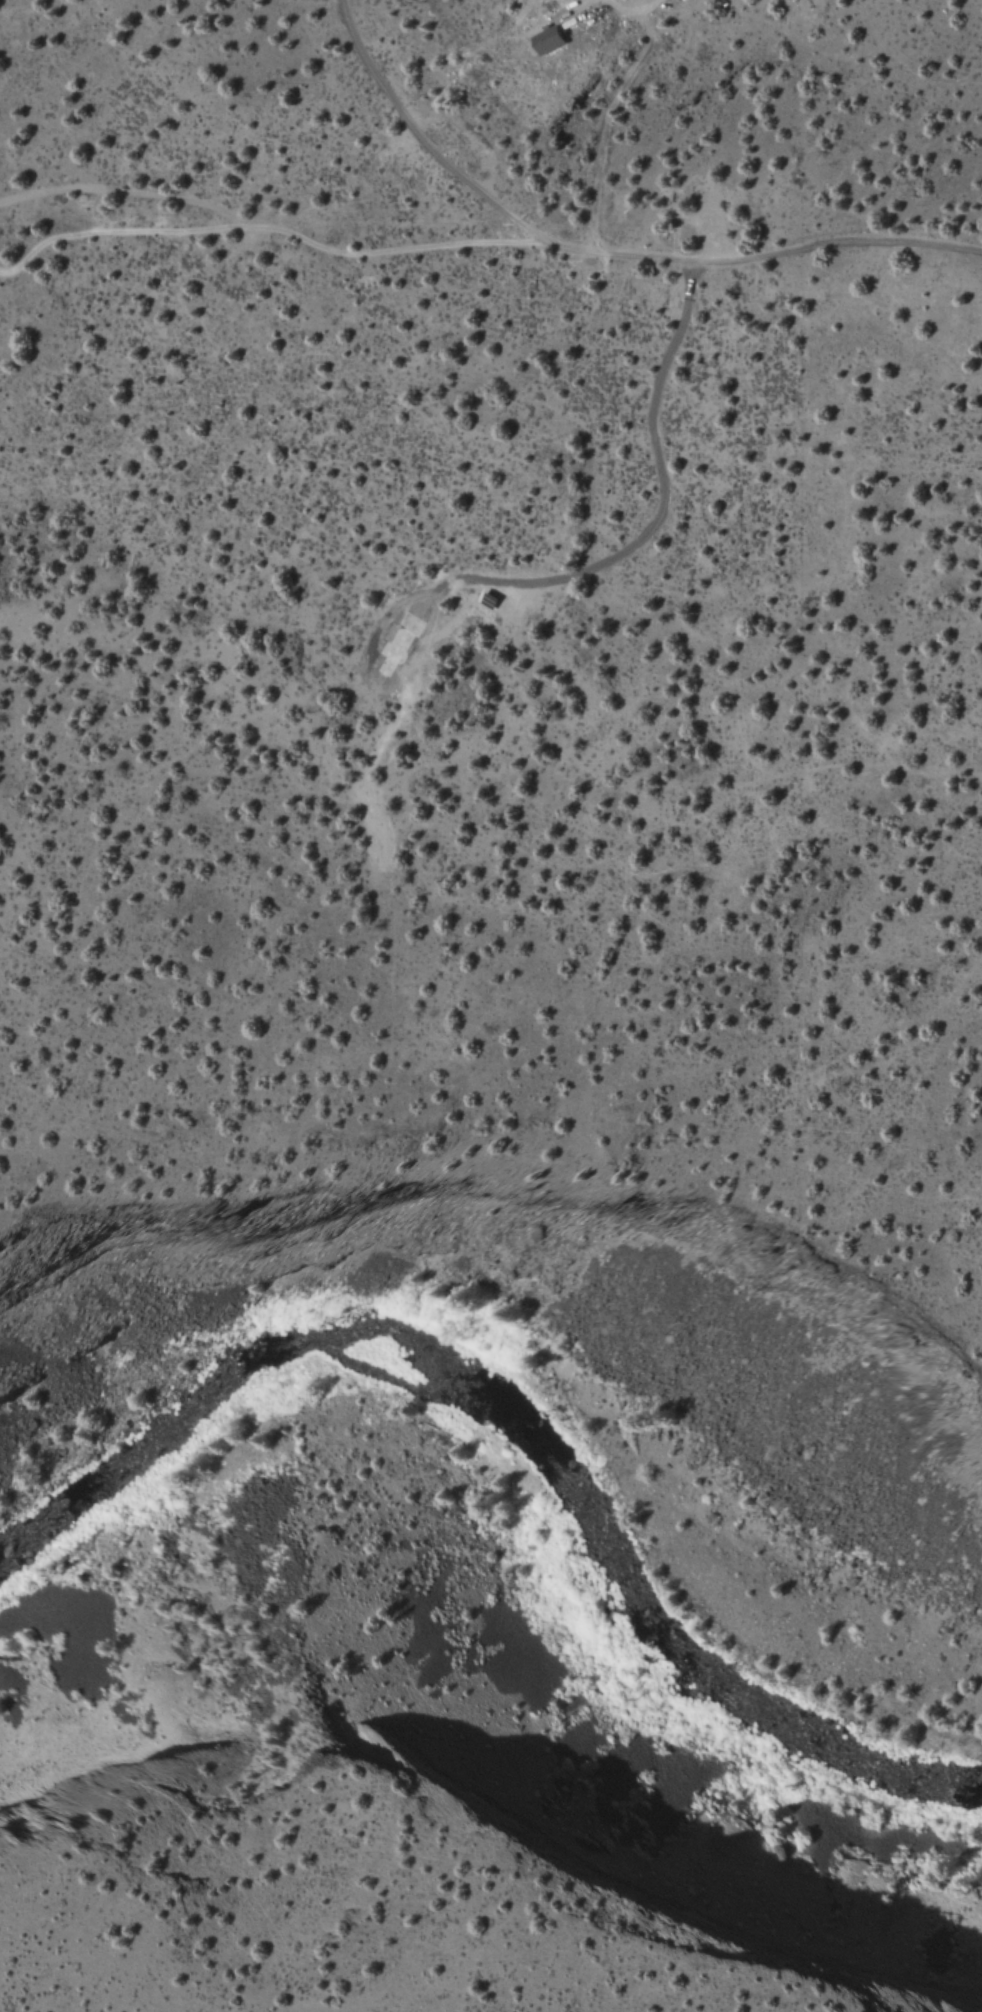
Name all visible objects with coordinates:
building: (549, 40)
road: (417, 139)
road: (484, 242)
road: (814, 987)
river: (521, 1432)

